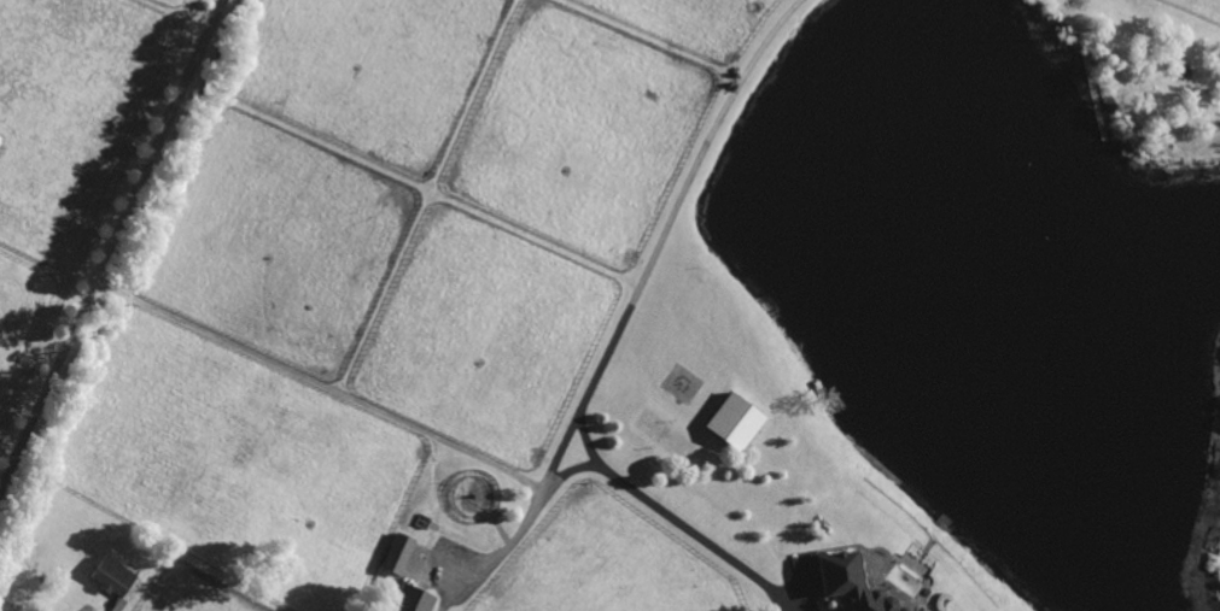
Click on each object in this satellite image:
road: (107, 233)
building: (732, 421)
road: (535, 500)
road: (671, 519)
building: (396, 552)
building: (111, 575)
building: (848, 583)
building: (408, 599)

